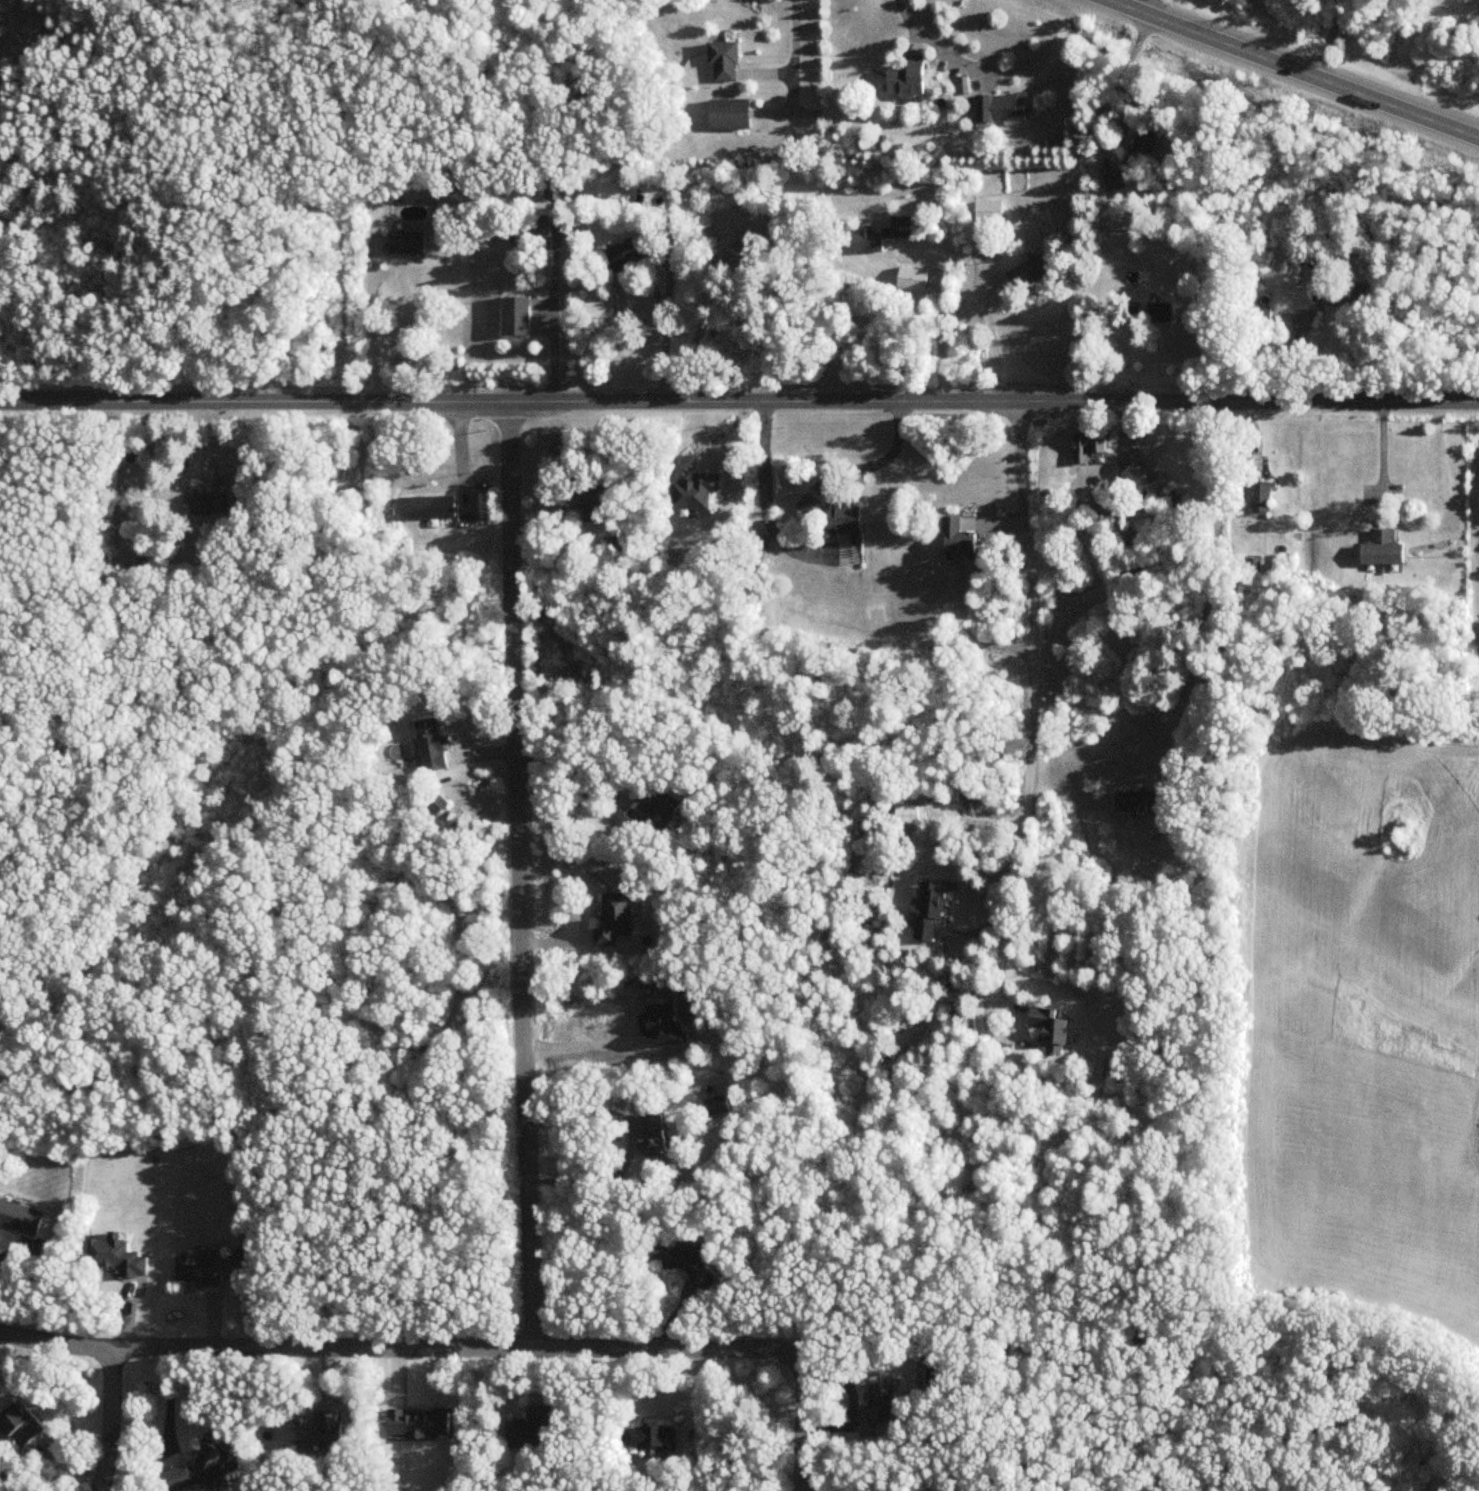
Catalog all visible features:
road: (1330, 39)
road: (928, 43)
road: (792, 57)
building: (721, 60)
road: (1293, 68)
road: (1127, 71)
building: (904, 77)
building: (998, 108)
building: (725, 114)
building: (1140, 148)
building: (1112, 180)
building: (898, 226)
building: (529, 235)
building: (863, 242)
building: (410, 244)
building: (617, 254)
building: (1026, 273)
building: (909, 280)
building: (1337, 293)
building: (1130, 312)
building: (1157, 312)
building: (1254, 315)
building: (519, 316)
road: (938, 316)
road: (553, 319)
road: (375, 332)
road: (663, 335)
road: (992, 344)
road: (739, 403)
building: (1085, 446)
road: (876, 454)
road: (1382, 459)
building: (1137, 475)
building: (691, 491)
building: (1258, 496)
building: (586, 497)
building: (806, 503)
building: (212, 505)
road: (765, 505)
building: (429, 508)
building: (837, 518)
building: (953, 537)
building: (755, 547)
building: (1379, 549)
road: (1207, 592)
road: (1032, 691)
building: (434, 746)
road: (571, 765)
building: (1135, 801)
building: (653, 811)
road: (522, 875)
building: (609, 921)
building: (1045, 1029)
building: (713, 1105)
building: (649, 1135)
building: (21, 1219)
building: (120, 1257)
building: (682, 1263)
road: (464, 1348)
building: (880, 1409)
road: (110, 1420)
building: (24, 1425)
building: (322, 1429)
building: (533, 1430)
building: (655, 1437)
building: (207, 1466)

